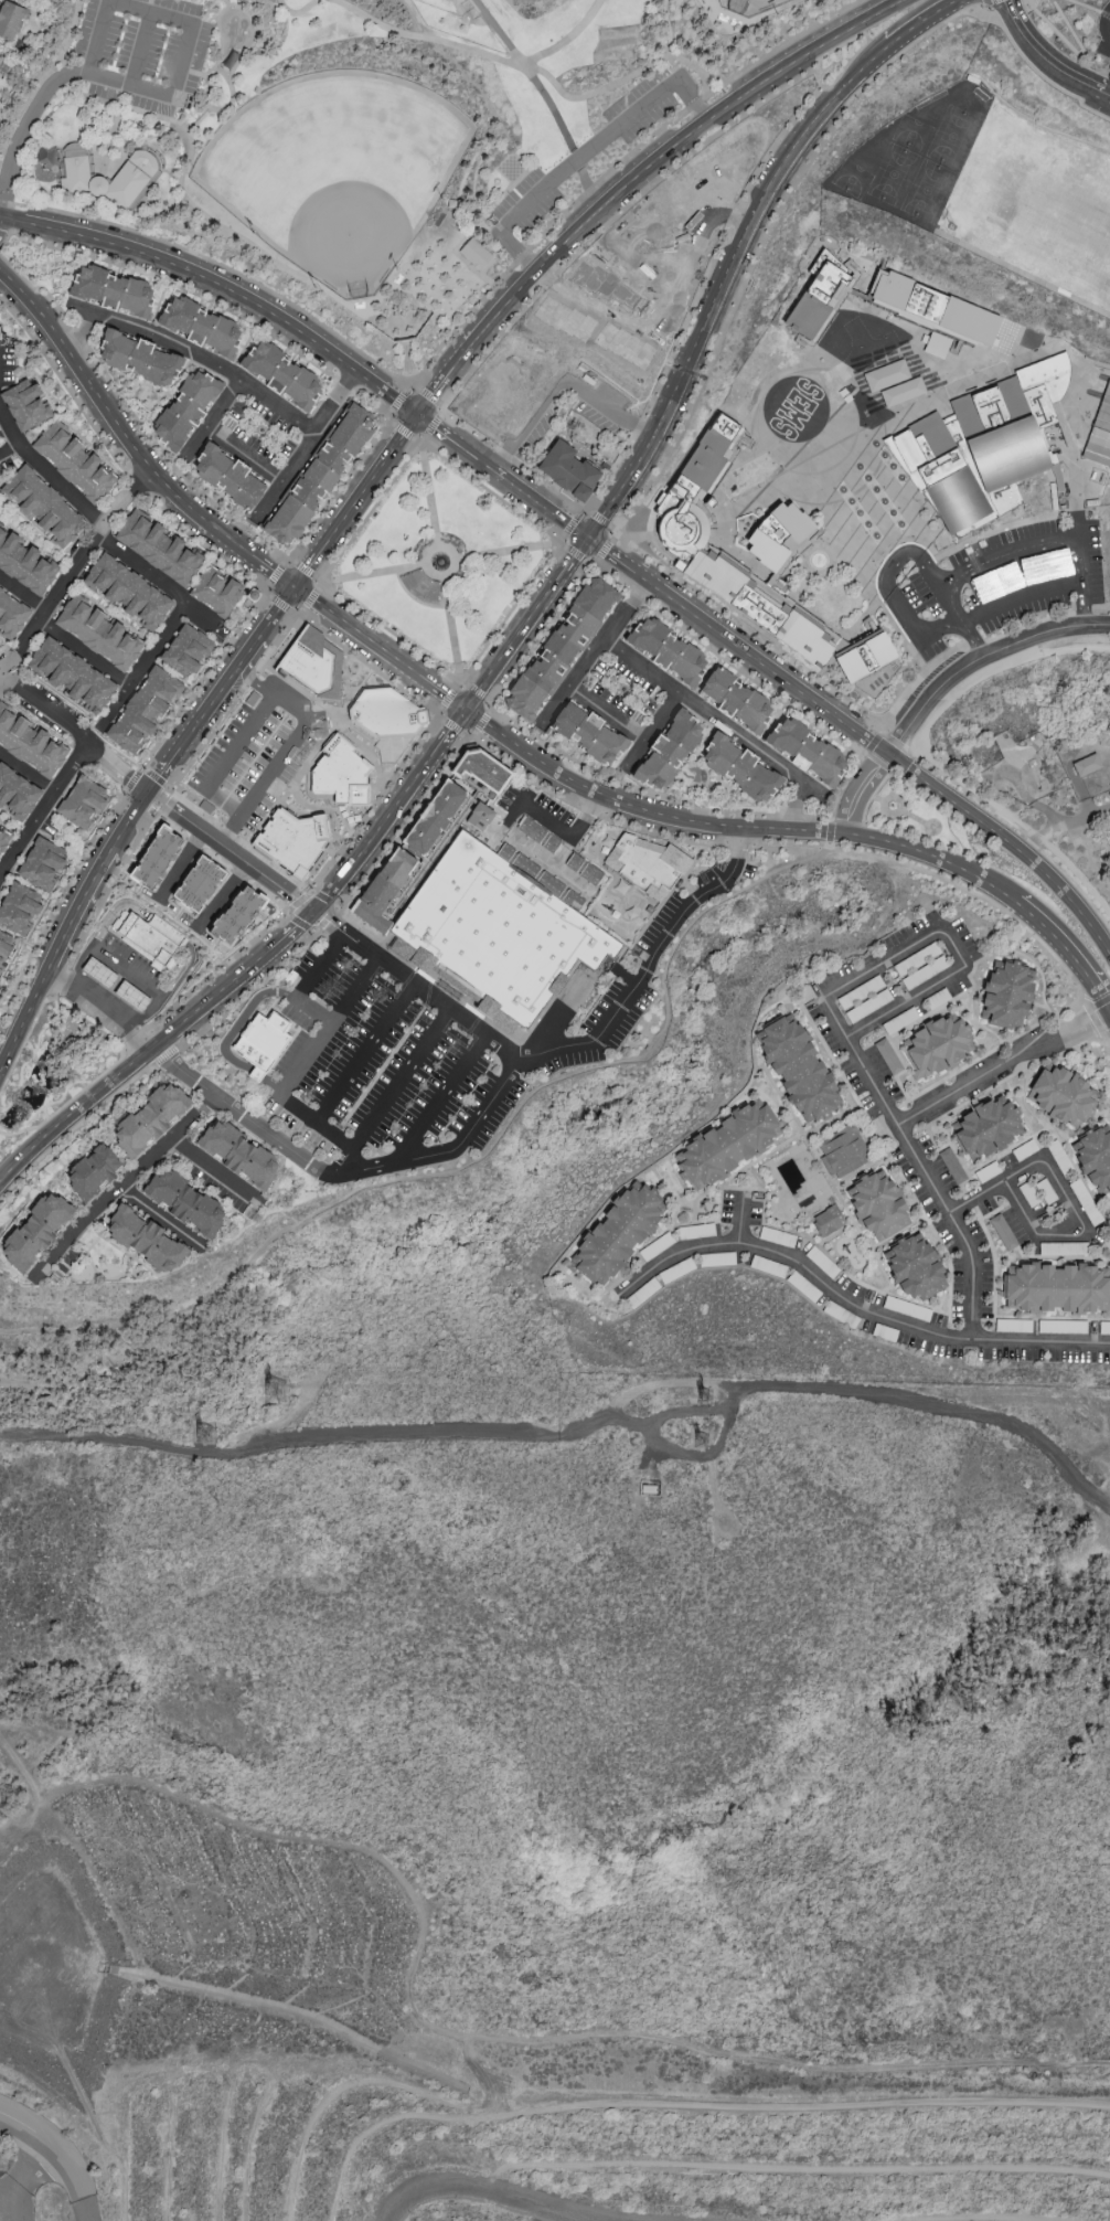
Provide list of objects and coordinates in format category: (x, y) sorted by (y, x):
road: (990, 2)
road: (985, 3)
road: (1085, 6)
park: (748, 7)
road: (1103, 13)
road: (1109, 18)
building: (10, 19)
road: (750, 19)
road: (929, 22)
road: (668, 29)
road: (62, 30)
fountain: (235, 31)
road: (397, 33)
road: (502, 34)
road: (179, 39)
road: (568, 40)
park: (615, 42)
road: (781, 46)
road: (131, 50)
road: (1072, 50)
parking lot: (137, 51)
building: (0, 60)
road: (1047, 60)
road: (55, 68)
road: (1038, 75)
road: (621, 79)
road: (792, 83)
road: (697, 98)
road: (22, 105)
parking lot: (641, 108)
road: (556, 113)
park: (365, 132)
park: (911, 134)
park: (951, 137)
road: (19, 142)
road: (495, 147)
building: (44, 155)
road: (583, 156)
road: (666, 159)
park: (510, 168)
building: (74, 169)
park: (337, 173)
park: (893, 174)
park: (851, 179)
building: (134, 180)
building: (97, 187)
road: (588, 187)
park: (926, 191)
parking lot: (530, 203)
road: (721, 216)
road: (216, 226)
road: (543, 235)
road: (765, 237)
building: (474, 253)
road: (35, 265)
road: (218, 266)
road: (866, 269)
road: (1016, 270)
road: (49, 273)
road: (736, 275)
road: (223, 284)
road: (561, 287)
building: (111, 291)
road: (202, 299)
building: (819, 300)
building: (935, 307)
road: (1108, 326)
building: (201, 327)
building: (936, 344)
road: (1011, 352)
road: (194, 353)
building: (138, 358)
road: (931, 362)
road: (1099, 363)
road: (989, 372)
road: (1098, 372)
building: (282, 375)
building: (1043, 381)
road: (566, 382)
building: (893, 383)
road: (439, 387)
road: (428, 395)
road: (73, 400)
road: (401, 403)
building: (24, 405)
traffic signals: (421, 408)
building: (184, 410)
road: (131, 414)
road: (209, 417)
road: (412, 422)
road: (117, 424)
road: (430, 426)
road: (751, 427)
road: (403, 431)
building: (1100, 431)
building: (999, 433)
road: (785, 439)
road: (465, 440)
road: (308, 443)
road: (416, 446)
building: (907, 446)
road: (681, 459)
building: (704, 459)
building: (74, 461)
road: (864, 464)
building: (919, 464)
building: (562, 470)
building: (320, 475)
building: (228, 477)
road: (851, 482)
road: (365, 488)
road: (338, 489)
road: (854, 490)
road: (428, 493)
road: (769, 493)
road: (829, 498)
building: (956, 500)
road: (860, 503)
road: (1071, 503)
road: (552, 506)
building: (41, 507)
road: (884, 509)
road: (868, 512)
road: (600, 520)
road: (98, 524)
road: (879, 524)
road: (568, 525)
road: (602, 530)
building: (676, 531)
road: (648, 534)
building: (777, 534)
road: (903, 534)
traffic signals: (596, 540)
road: (204, 546)
building: (158, 548)
road: (606, 548)
road: (505, 550)
road: (574, 553)
road: (663, 554)
road: (617, 555)
road: (1010, 555)
fountain: (439, 561)
building: (24, 563)
road: (310, 563)
park: (437, 563)
road: (577, 565)
road: (305, 568)
road: (271, 573)
road: (275, 574)
road: (370, 574)
road: (72, 576)
road: (447, 576)
parking lot: (1002, 584)
road: (893, 585)
traffic signals: (295, 587)
road: (421, 587)
building: (216, 592)
building: (126, 593)
road: (1018, 595)
road: (287, 597)
road: (306, 598)
road: (279, 603)
road: (798, 604)
building: (758, 608)
building: (11, 616)
road: (452, 630)
road: (750, 630)
building: (98, 631)
road: (355, 631)
road: (542, 634)
road: (257, 639)
road: (522, 641)
road: (976, 645)
building: (561, 648)
road: (594, 648)
building: (186, 650)
building: (665, 650)
road: (85, 653)
building: (864, 657)
building: (311, 662)
road: (726, 662)
road: (142, 665)
road: (993, 672)
building: (71, 676)
road: (242, 677)
road: (200, 681)
road: (942, 682)
road: (259, 688)
road: (442, 694)
road: (477, 694)
road: (448, 698)
building: (736, 700)
road: (476, 703)
road: (50, 710)
road: (206, 710)
building: (142, 711)
building: (384, 713)
traffic signals: (469, 714)
road: (482, 722)
road: (719, 723)
road: (452, 726)
road: (629, 727)
road: (533, 734)
building: (587, 734)
road: (452, 736)
road: (871, 742)
road: (894, 742)
building: (29, 743)
building: (804, 750)
building: (666, 751)
road: (633, 753)
road: (884, 754)
road: (222, 761)
road: (876, 763)
building: (1032, 763)
building: (1085, 765)
road: (277, 766)
road: (119, 767)
building: (739, 768)
road: (162, 769)
building: (480, 771)
road: (29, 773)
building: (340, 773)
road: (130, 780)
road: (890, 784)
road: (842, 785)
road: (166, 787)
traffic signals: (146, 791)
road: (171, 791)
road: (651, 793)
building: (15, 794)
road: (871, 795)
road: (878, 798)
building: (82, 803)
road: (1034, 803)
road: (45, 808)
road: (896, 811)
road: (584, 814)
building: (479, 816)
building: (433, 818)
road: (543, 818)
road: (873, 818)
road: (127, 820)
road: (1016, 820)
road: (845, 823)
road: (405, 826)
road: (926, 827)
road: (1063, 827)
road: (736, 829)
road: (638, 830)
road: (1021, 830)
road: (828, 833)
road: (375, 835)
building: (537, 835)
building: (3, 838)
building: (291, 840)
road: (226, 852)
building: (154, 857)
building: (42, 863)
road: (177, 864)
building: (644, 864)
building: (583, 869)
building: (198, 883)
building: (385, 889)
building: (559, 890)
road: (973, 893)
road: (220, 896)
road: (321, 899)
road: (298, 900)
road: (57, 903)
building: (19, 908)
road: (75, 908)
traffic signals: (312, 908)
building: (234, 914)
road: (325, 916)
road: (298, 923)
road: (157, 927)
road: (290, 928)
building: (497, 934)
building: (149, 938)
road: (1067, 947)
building: (6, 948)
road: (74, 952)
road: (954, 953)
road: (318, 973)
road: (60, 977)
building: (115, 985)
road: (416, 985)
gas station: (120, 986)
building: (1005, 993)
road: (212, 997)
road: (1093, 1005)
road: (314, 1011)
road: (160, 1014)
road: (1092, 1018)
road: (23, 1019)
road: (135, 1022)
road: (1106, 1035)
road: (142, 1037)
building: (263, 1040)
road: (1104, 1043)
road: (573, 1046)
building: (937, 1046)
road: (365, 1050)
parking lot: (433, 1054)
building: (887, 1056)
road: (157, 1064)
road: (298, 1064)
building: (797, 1069)
road: (1005, 1071)
road: (394, 1091)
building: (1060, 1094)
road: (62, 1095)
road: (438, 1099)
road: (75, 1115)
road: (242, 1115)
road: (30, 1117)
building: (149, 1120)
building: (985, 1128)
road: (18, 1130)
building: (726, 1145)
building: (842, 1151)
building: (236, 1155)
building: (1095, 1157)
road: (470, 1162)
road: (213, 1166)
road: (925, 1167)
building: (90, 1172)
road: (134, 1182)
road: (1067, 1202)
building: (184, 1203)
building: (877, 1205)
road: (164, 1221)
road: (741, 1221)
building: (826, 1221)
building: (36, 1231)
building: (616, 1234)
building: (145, 1241)
building: (914, 1267)
building: (1056, 1288)
road: (852, 1307)
power tower: (292, 1394)
power tower: (721, 1401)
road: (570, 1434)
power tower: (218, 1436)
power tower: (713, 1445)
landfill: (427, 2060)
road: (64, 2149)
road: (21, 2172)
road: (499, 2191)

